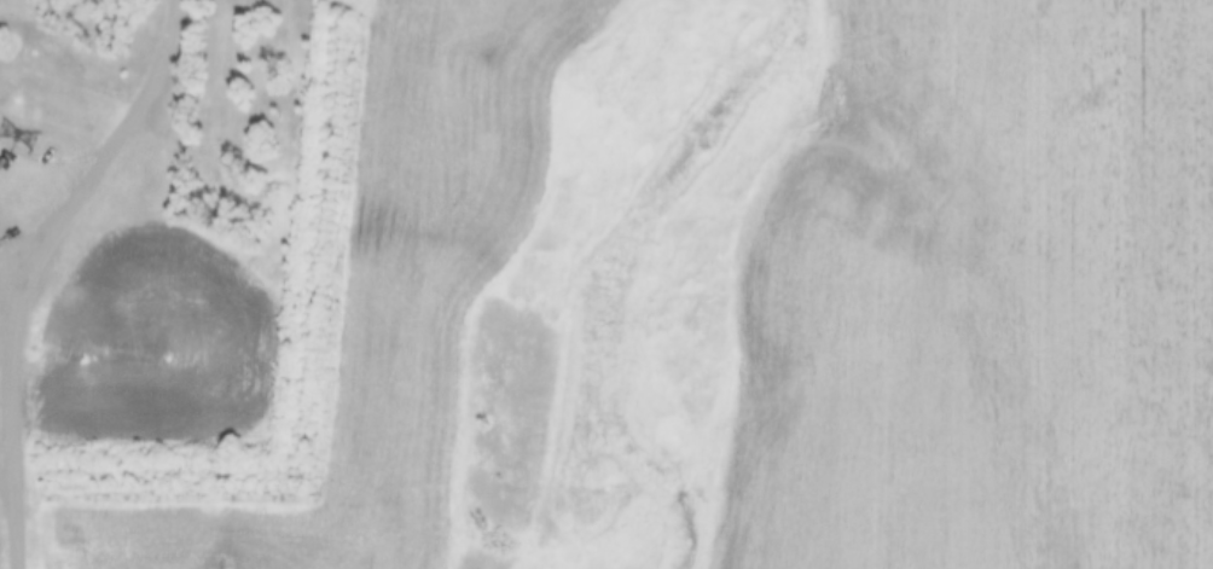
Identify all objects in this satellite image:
road: (37, 266)
road: (12, 272)
road: (10, 503)

